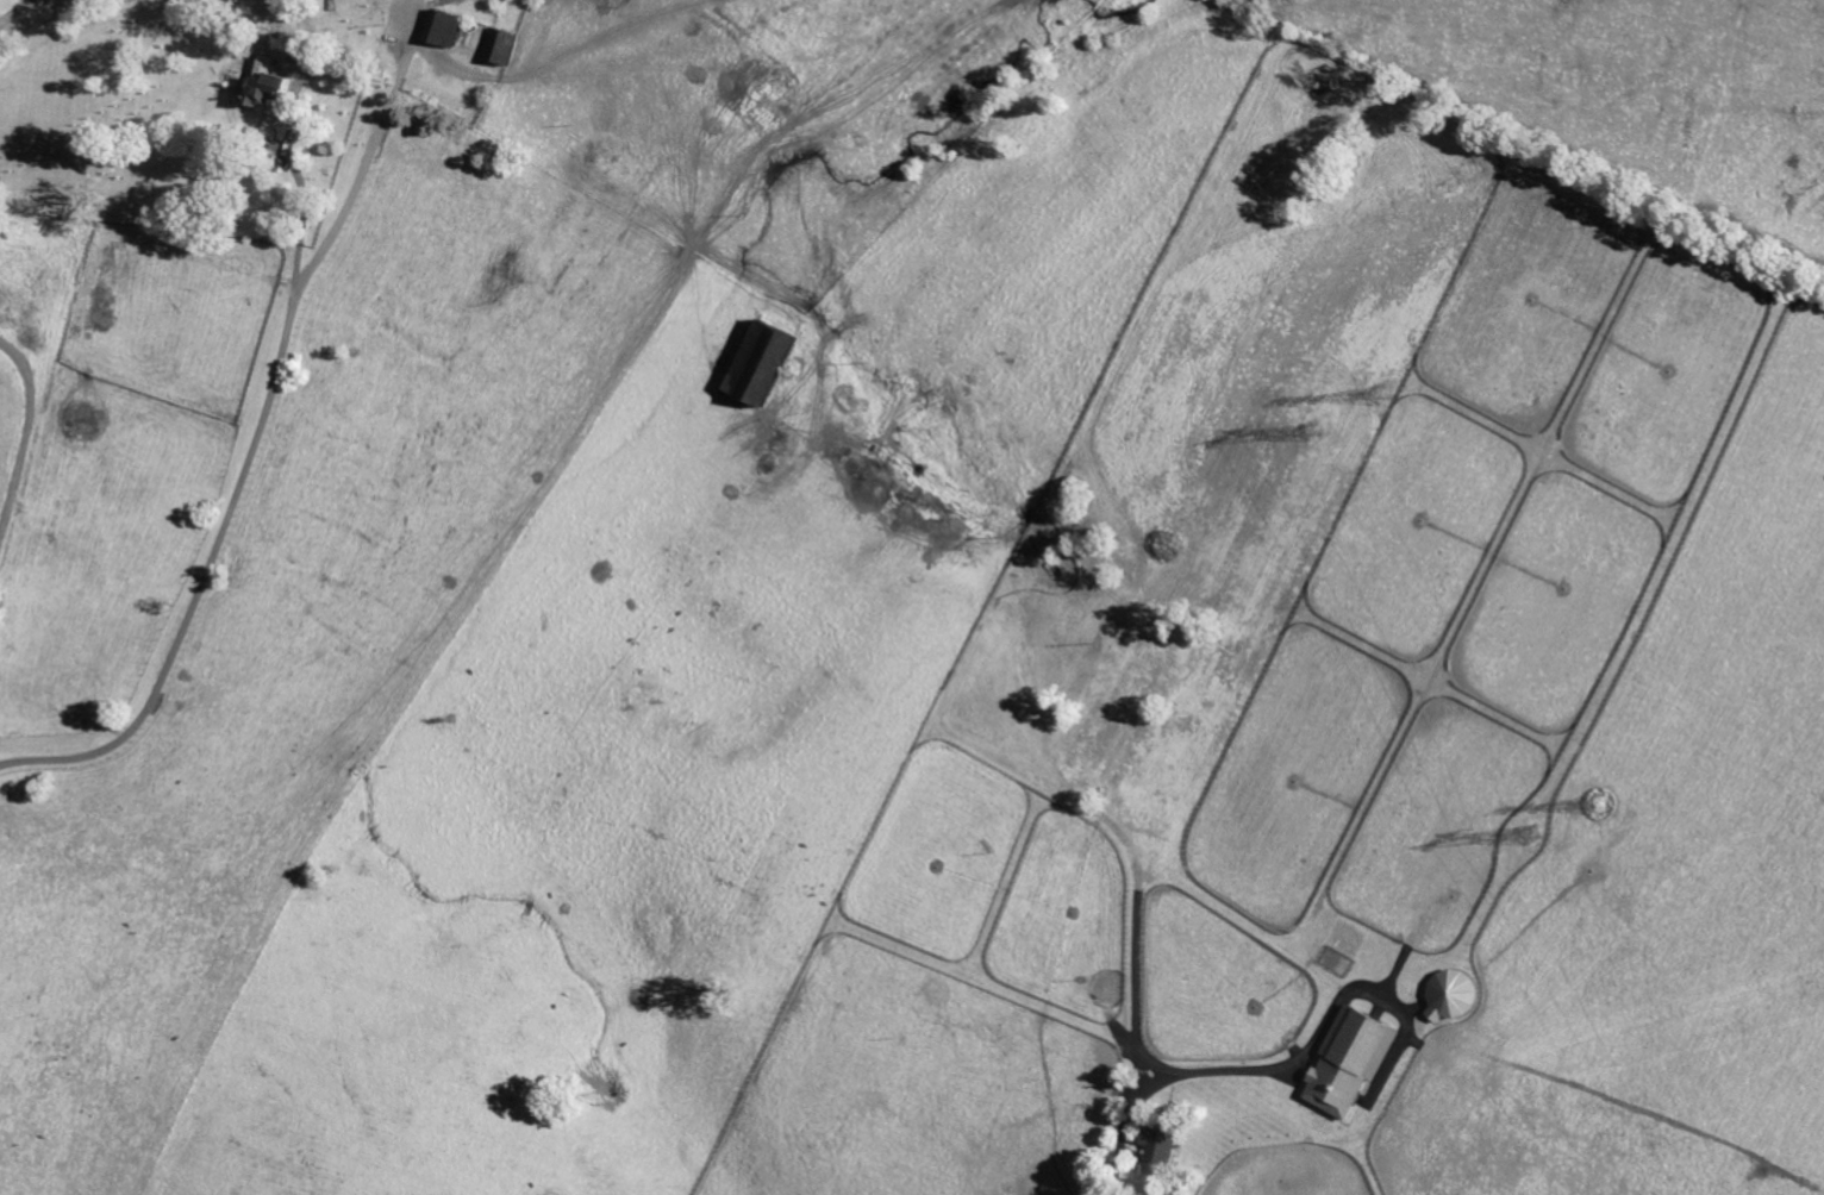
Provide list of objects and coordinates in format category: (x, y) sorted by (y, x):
building: (451, 26)
building: (507, 44)
building: (314, 57)
building: (271, 65)
building: (279, 93)
road: (371, 155)
building: (772, 362)
power tower: (1385, 394)
power tower: (1326, 431)
road: (215, 551)
power tower: (1604, 805)
power tower: (1537, 837)
building: (1344, 1062)
road: (1163, 1081)
building: (1155, 1146)

